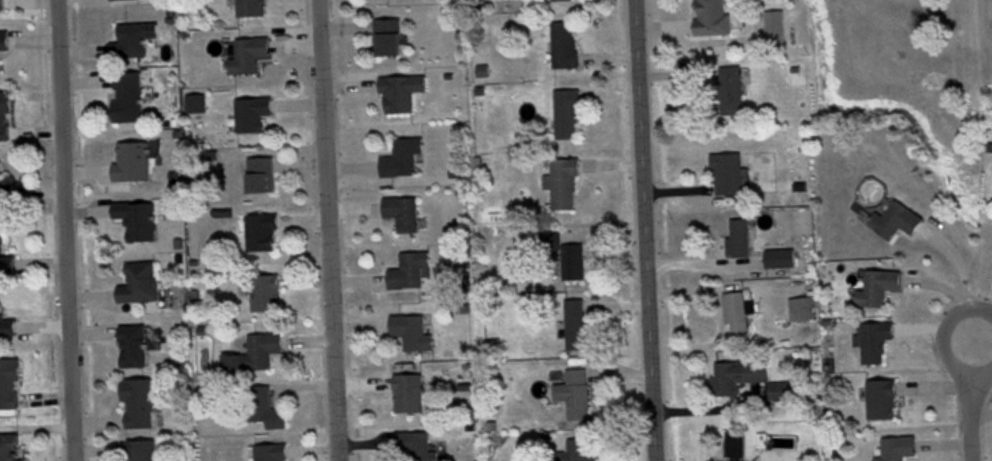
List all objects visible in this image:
building: (125, 1)
building: (564, 2)
building: (4, 6)
building: (253, 9)
building: (715, 19)
building: (777, 29)
building: (391, 40)
building: (136, 43)
building: (4, 46)
building: (567, 48)
building: (251, 58)
building: (733, 93)
building: (404, 96)
building: (131, 98)
building: (254, 116)
building: (569, 117)
building: (6, 119)
building: (403, 158)
building: (132, 162)
building: (259, 174)
building: (728, 175)
building: (562, 182)
building: (6, 189)
building: (401, 210)
building: (137, 217)
building: (894, 218)
road: (61, 230)
building: (260, 230)
road: (326, 230)
road: (644, 230)
building: (738, 237)
building: (773, 256)
building: (6, 260)
building: (572, 260)
building: (410, 270)
building: (138, 280)
building: (877, 285)
building: (264, 290)
building: (801, 307)
building: (736, 311)
building: (573, 322)
building: (7, 323)
road: (983, 325)
building: (411, 329)
road: (983, 330)
building: (874, 339)
building: (133, 344)
building: (253, 351)
building: (736, 373)
building: (9, 382)
building: (407, 390)
building: (574, 391)
building: (881, 397)
road: (968, 397)
building: (138, 401)
building: (264, 405)
building: (414, 445)
building: (734, 445)
building: (10, 446)
building: (896, 447)
building: (140, 449)
building: (576, 450)
building: (269, 451)

